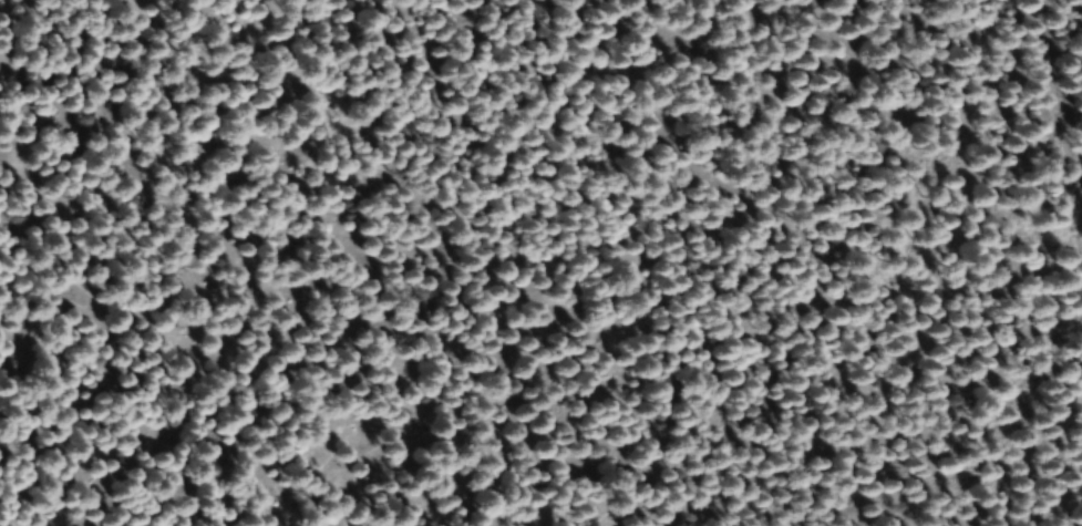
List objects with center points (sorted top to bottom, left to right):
road: (99, 83)

